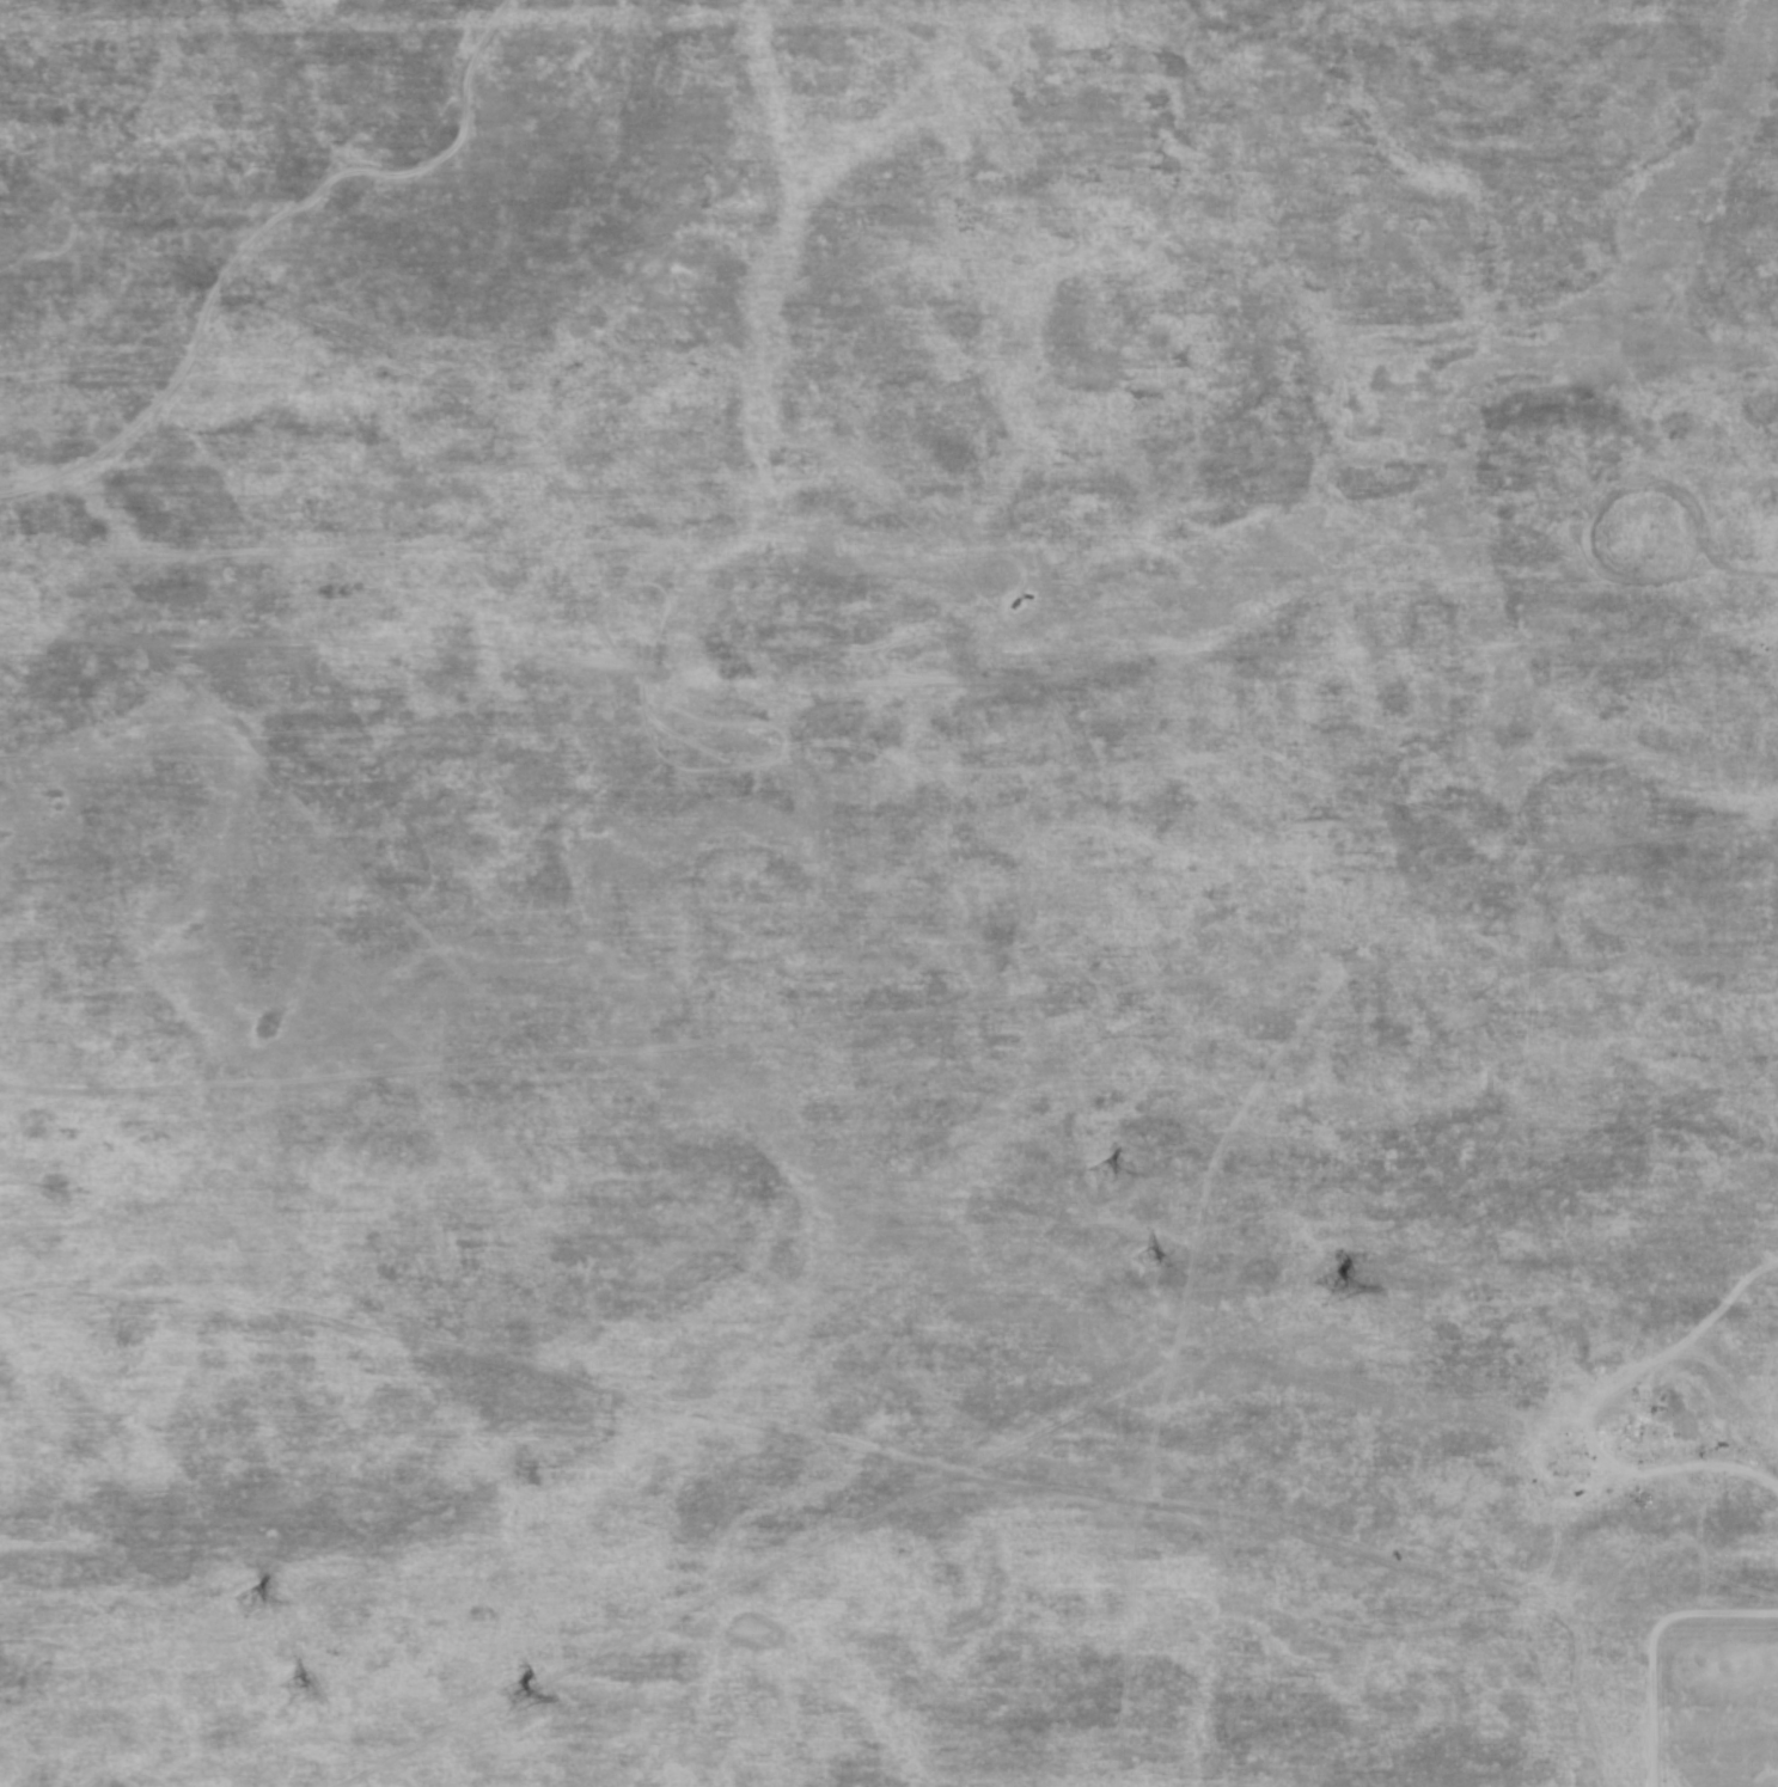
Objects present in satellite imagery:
power tower: (1105, 1176)
power tower: (1151, 1265)
power tower: (1332, 1290)
power tower: (252, 1607)
power tower: (298, 1694)
power tower: (515, 1702)

